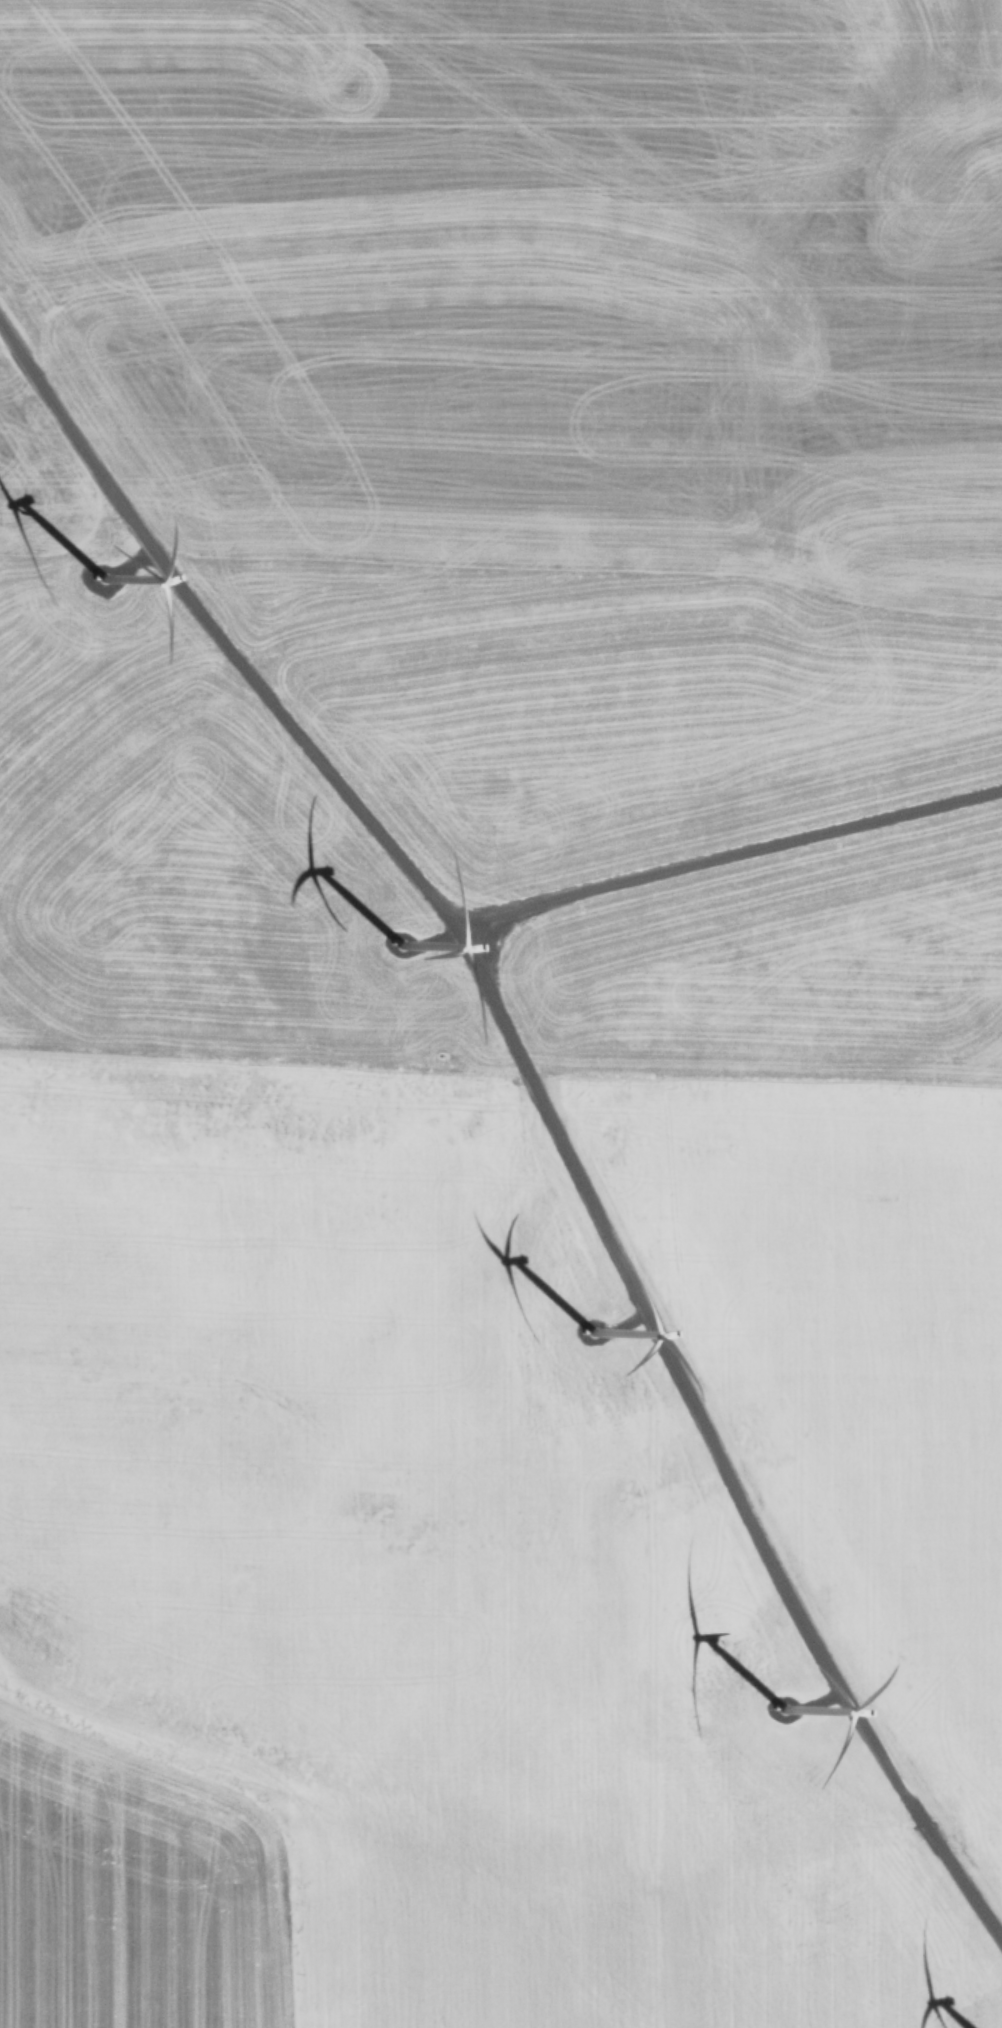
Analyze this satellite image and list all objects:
wind turbine: (108, 590)
wind turbine: (404, 950)
road: (545, 1097)
wind turbine: (595, 1337)
wind turbine: (782, 1719)

